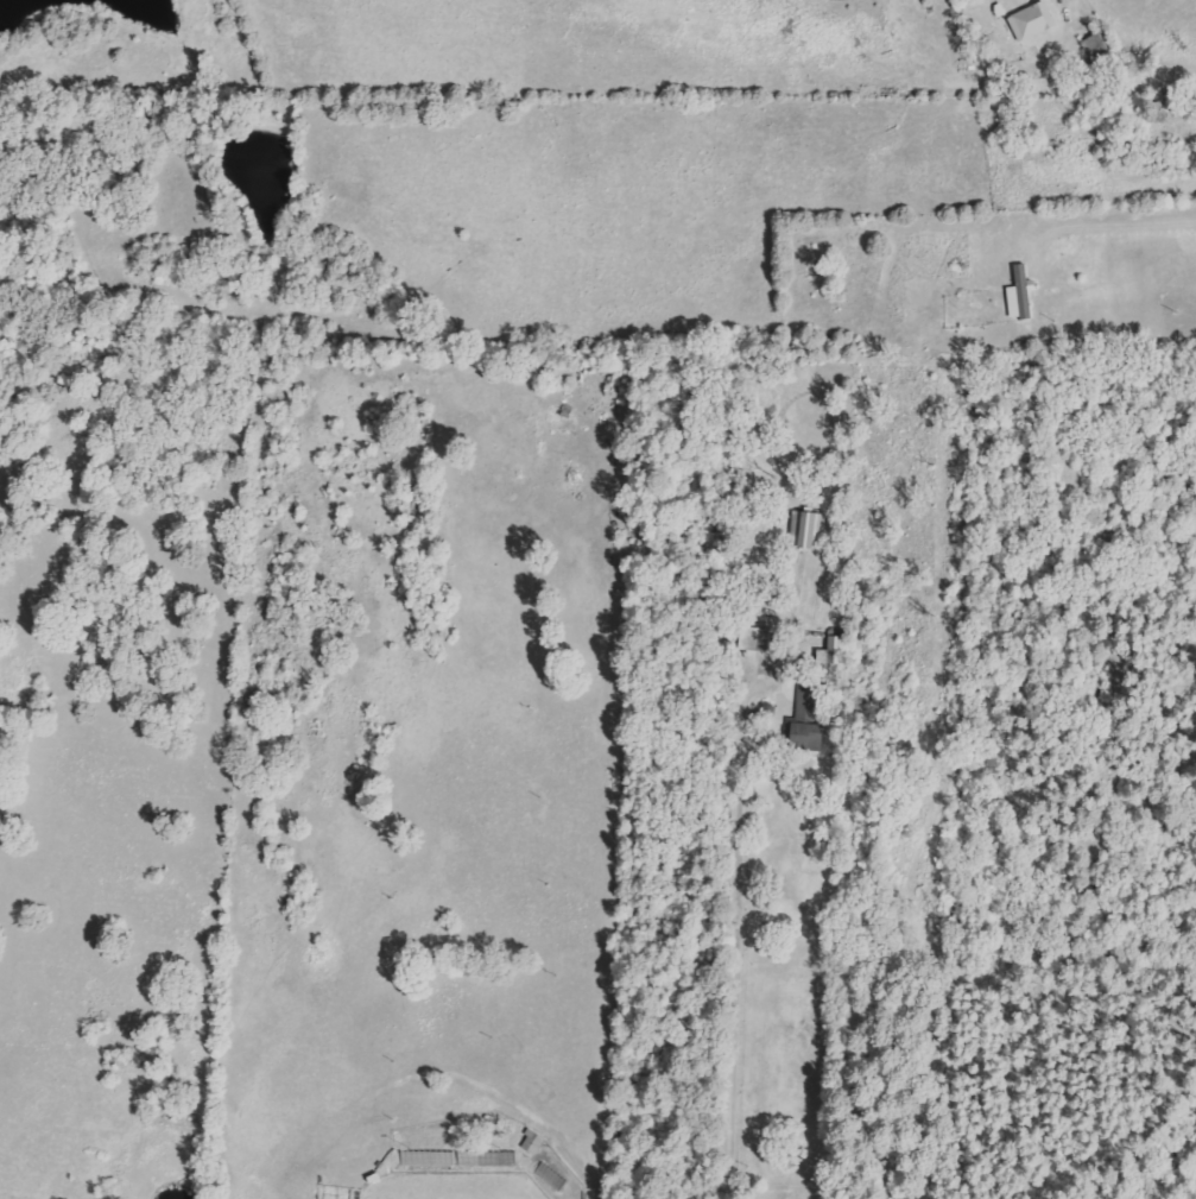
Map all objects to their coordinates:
building: (1033, 20)
road: (1124, 118)
building: (1020, 295)
building: (808, 530)
building: (761, 639)
building: (834, 651)
building: (805, 722)
building: (534, 1142)

